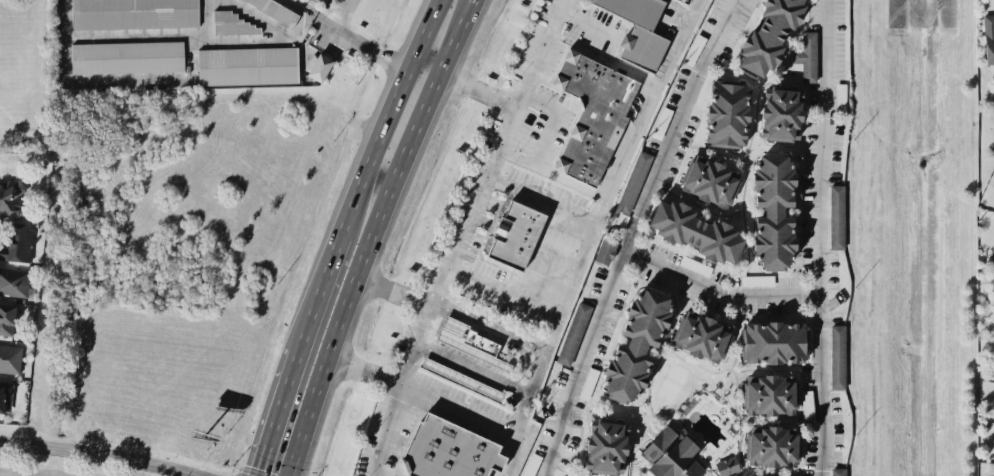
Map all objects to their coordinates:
building: (276, 10)
road: (341, 12)
building: (134, 13)
building: (233, 23)
building: (639, 30)
road: (351, 34)
building: (769, 35)
building: (989, 37)
building: (127, 56)
road: (606, 56)
building: (807, 56)
building: (248, 65)
road: (523, 91)
building: (592, 113)
building: (781, 113)
building: (727, 114)
road: (387, 117)
road: (551, 119)
building: (661, 122)
road: (554, 173)
building: (709, 180)
building: (634, 181)
building: (10, 195)
road: (543, 200)
building: (774, 209)
building: (837, 216)
building: (696, 231)
road: (631, 233)
road: (371, 234)
building: (527, 235)
road: (594, 235)
road: (817, 237)
road: (460, 239)
building: (16, 241)
building: (605, 251)
building: (13, 280)
building: (758, 280)
road: (442, 282)
road: (717, 288)
road: (395, 289)
road: (317, 292)
building: (6, 318)
road: (426, 324)
road: (489, 328)
building: (573, 333)
building: (701, 336)
building: (469, 340)
building: (774, 341)
building: (636, 344)
building: (838, 356)
building: (10, 357)
road: (410, 367)
road: (473, 369)
building: (462, 377)
building: (588, 382)
building: (770, 394)
building: (5, 396)
road: (422, 397)
road: (277, 412)
road: (387, 432)
building: (605, 444)
building: (448, 449)
building: (671, 454)
road: (99, 456)
building: (727, 465)
traffic signals: (260, 467)
building: (838, 471)
road: (13, 474)

